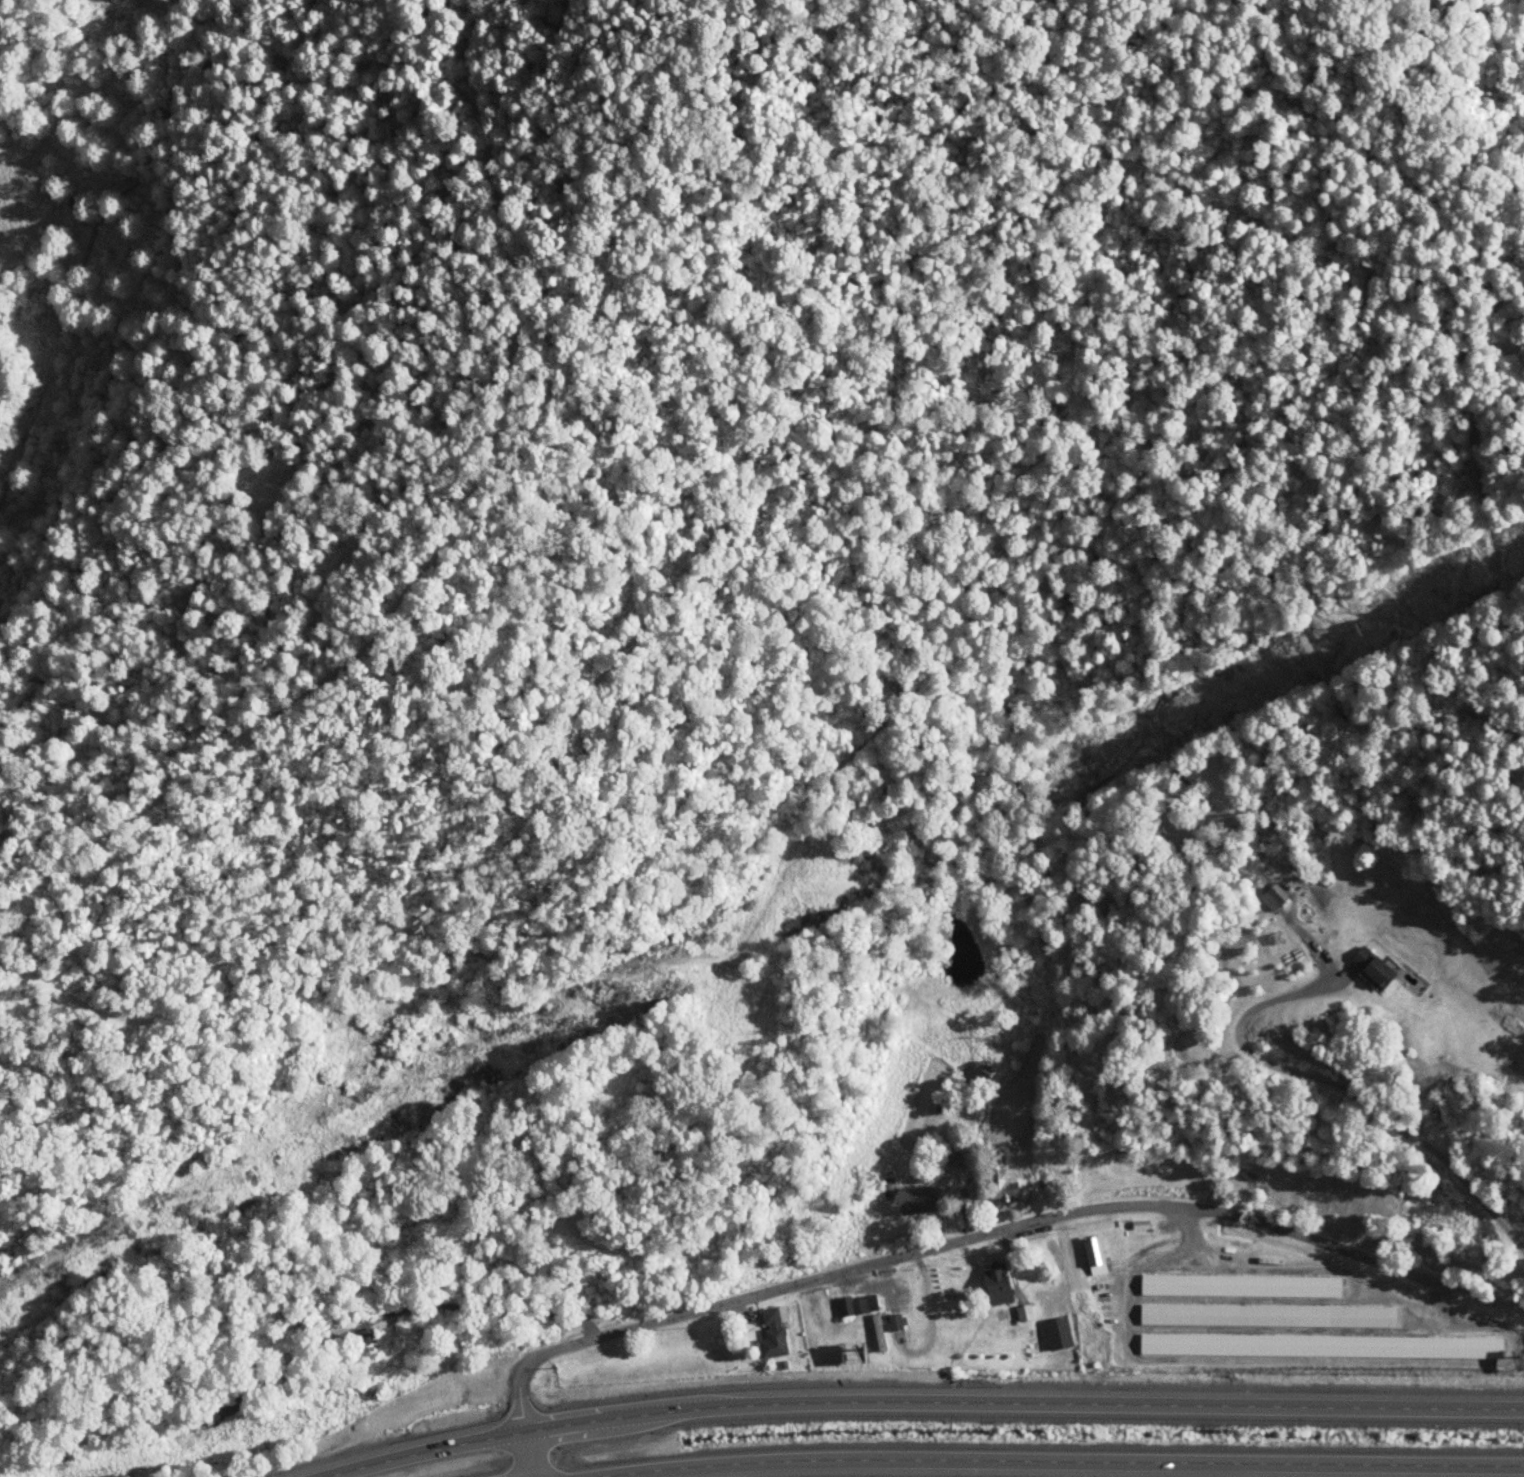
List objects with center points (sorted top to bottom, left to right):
power tower: (1354, 627)
building: (1265, 898)
building: (1372, 967)
power tower: (615, 989)
road: (1350, 1088)
building: (991, 1178)
building: (905, 1201)
road: (965, 1237)
building: (1088, 1255)
building: (1234, 1285)
building: (859, 1305)
building: (1225, 1314)
building: (1378, 1316)
building: (889, 1322)
building: (767, 1331)
building: (872, 1332)
building: (1054, 1340)
building: (1197, 1342)
road: (919, 1400)
road: (1055, 1460)

